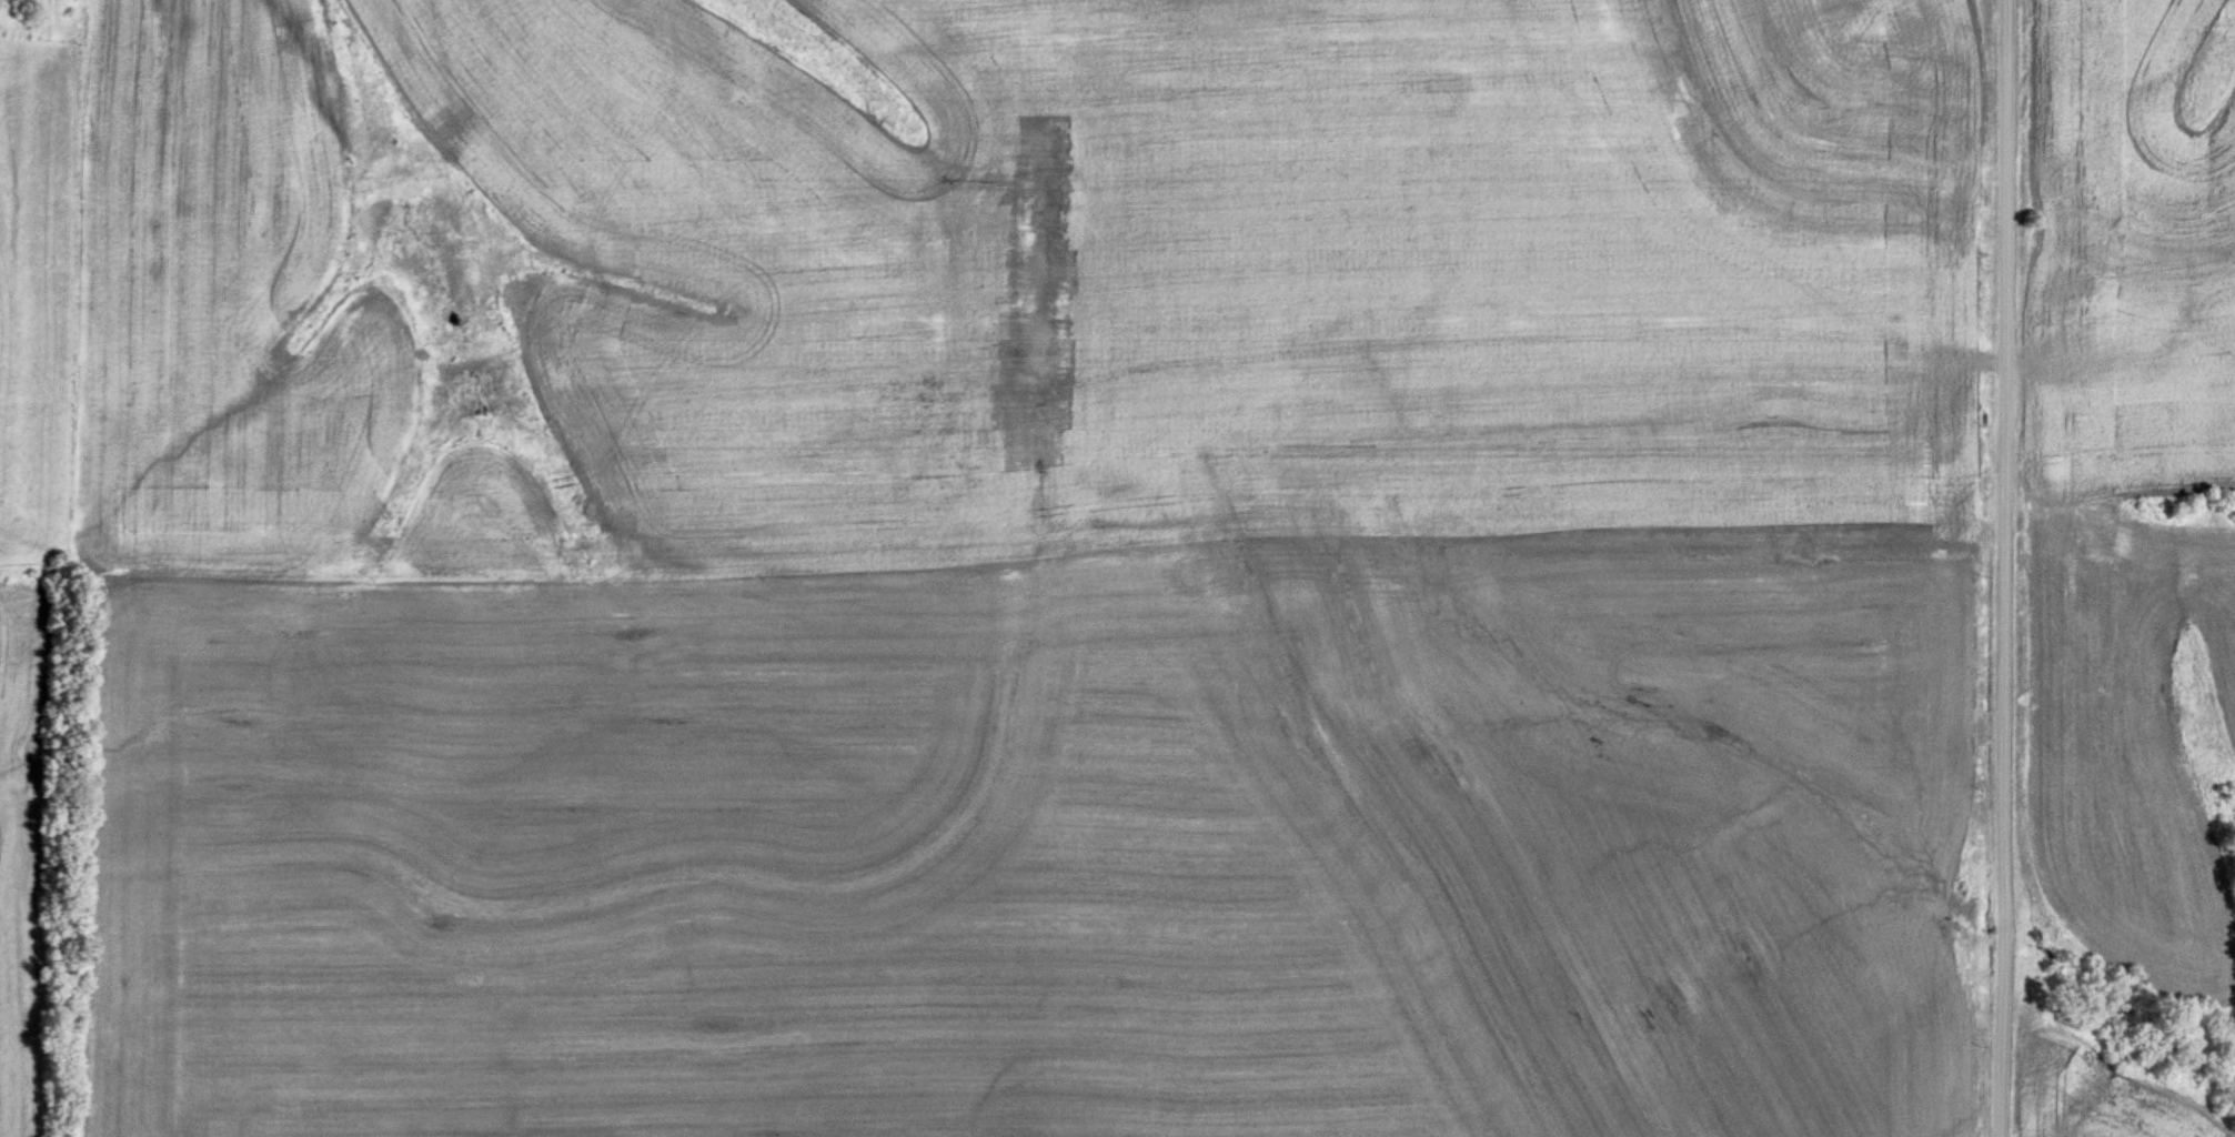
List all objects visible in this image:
road: (2002, 568)

